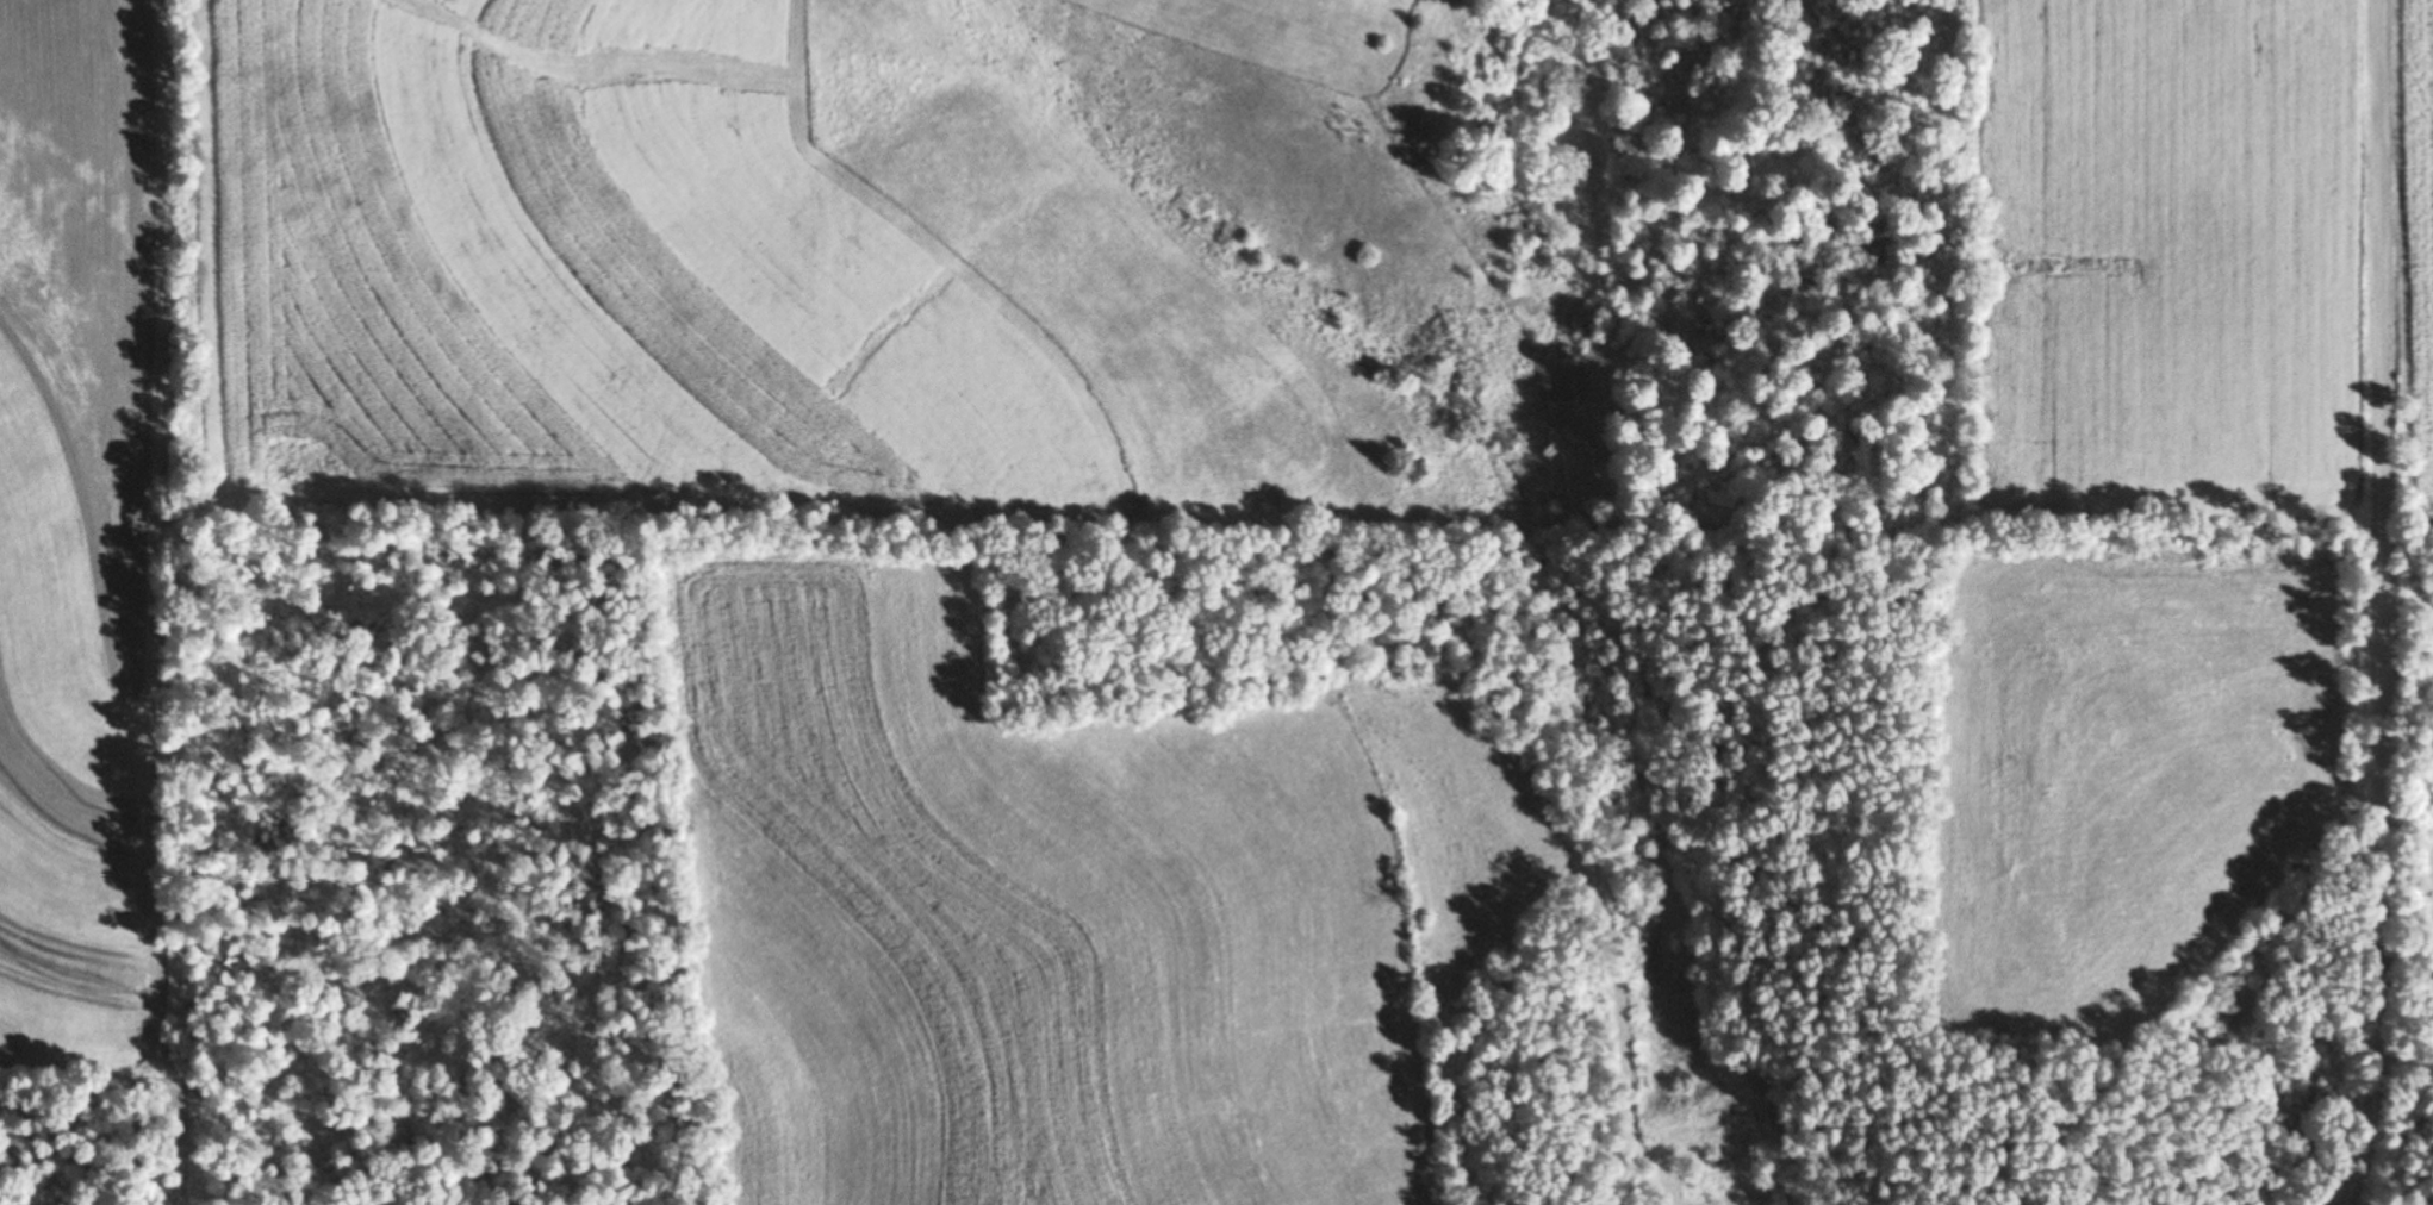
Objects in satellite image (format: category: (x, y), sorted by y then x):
crop: (1270, 29)
crop: (2408, 248)
crop: (2179, 252)
crop: (605, 271)
crop: (74, 508)
road: (2385, 604)
crop: (2109, 780)
crop: (1070, 907)

